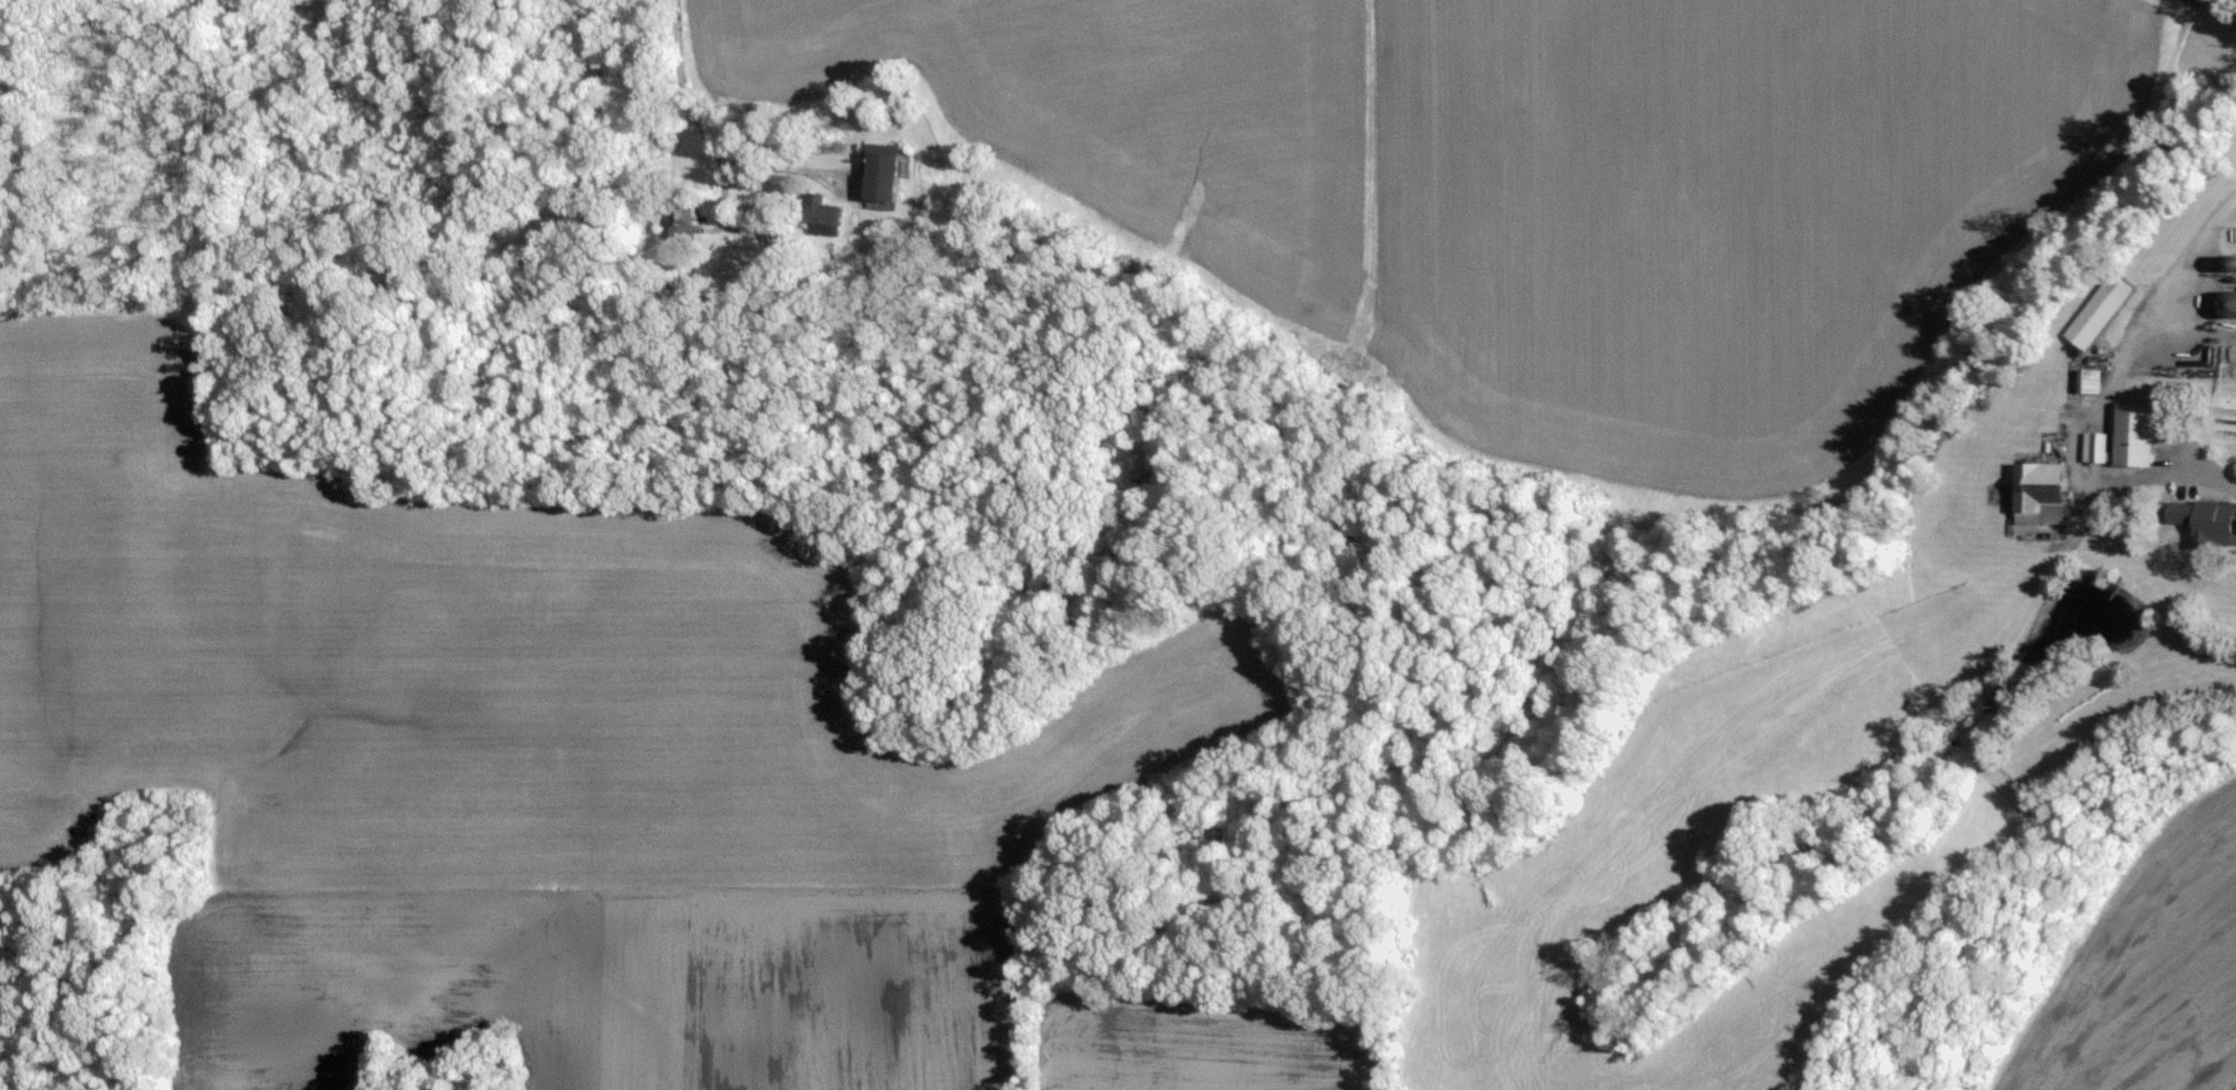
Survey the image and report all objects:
road: (2216, 11)
road: (689, 115)
building: (887, 174)
building: (824, 216)
silo: (2230, 245)
building: (2233, 269)
silo: (2227, 287)
building: (2099, 297)
building: (2089, 367)
road: (2102, 399)
building: (2124, 423)
building: (2041, 481)

